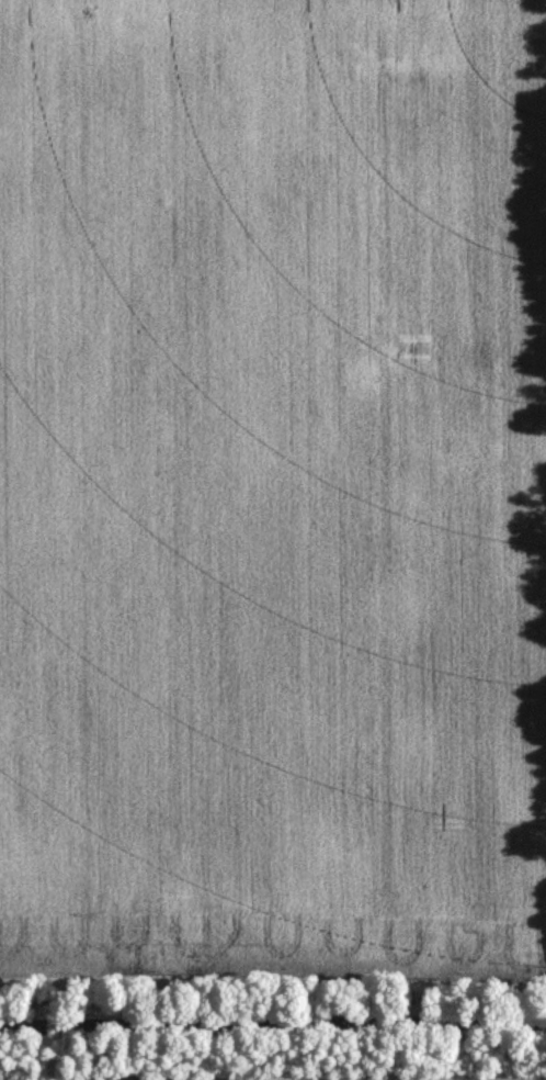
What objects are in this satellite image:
road: (273, 1022)

